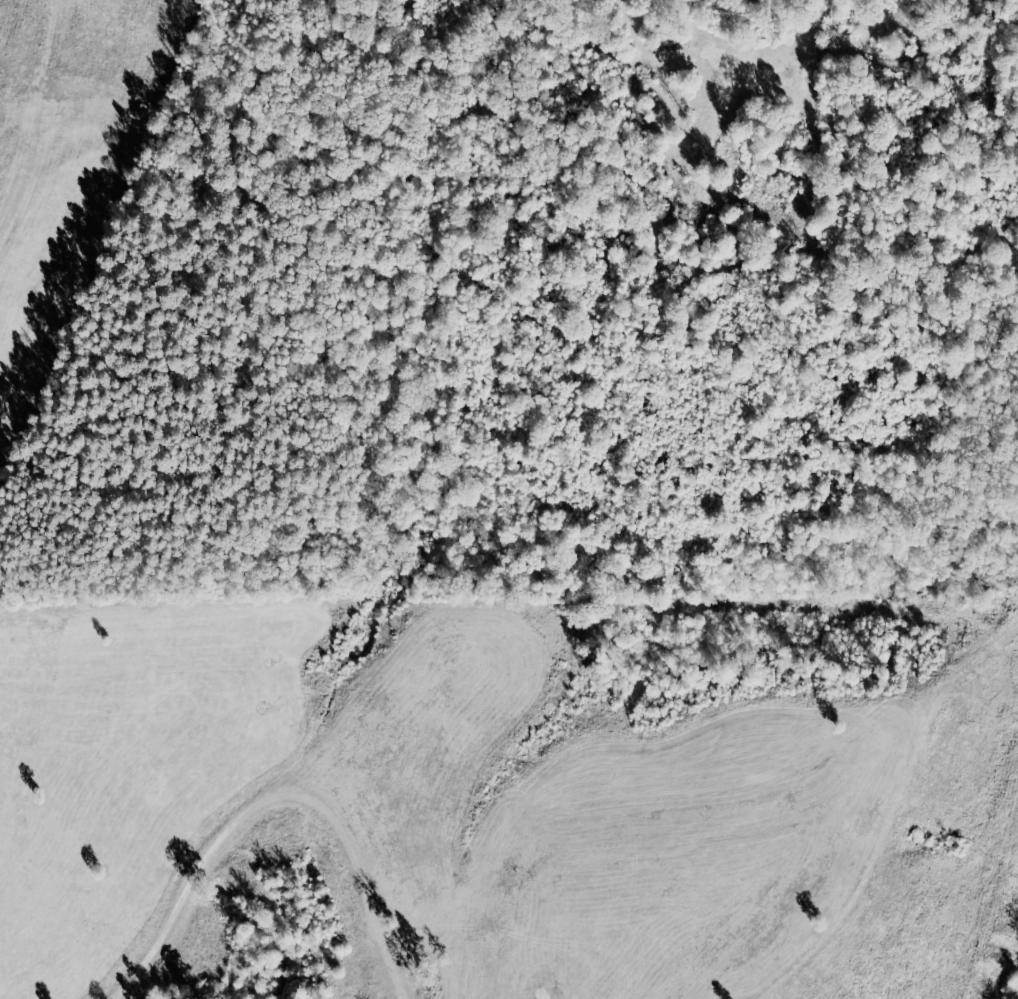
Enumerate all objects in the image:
road: (143, 88)

